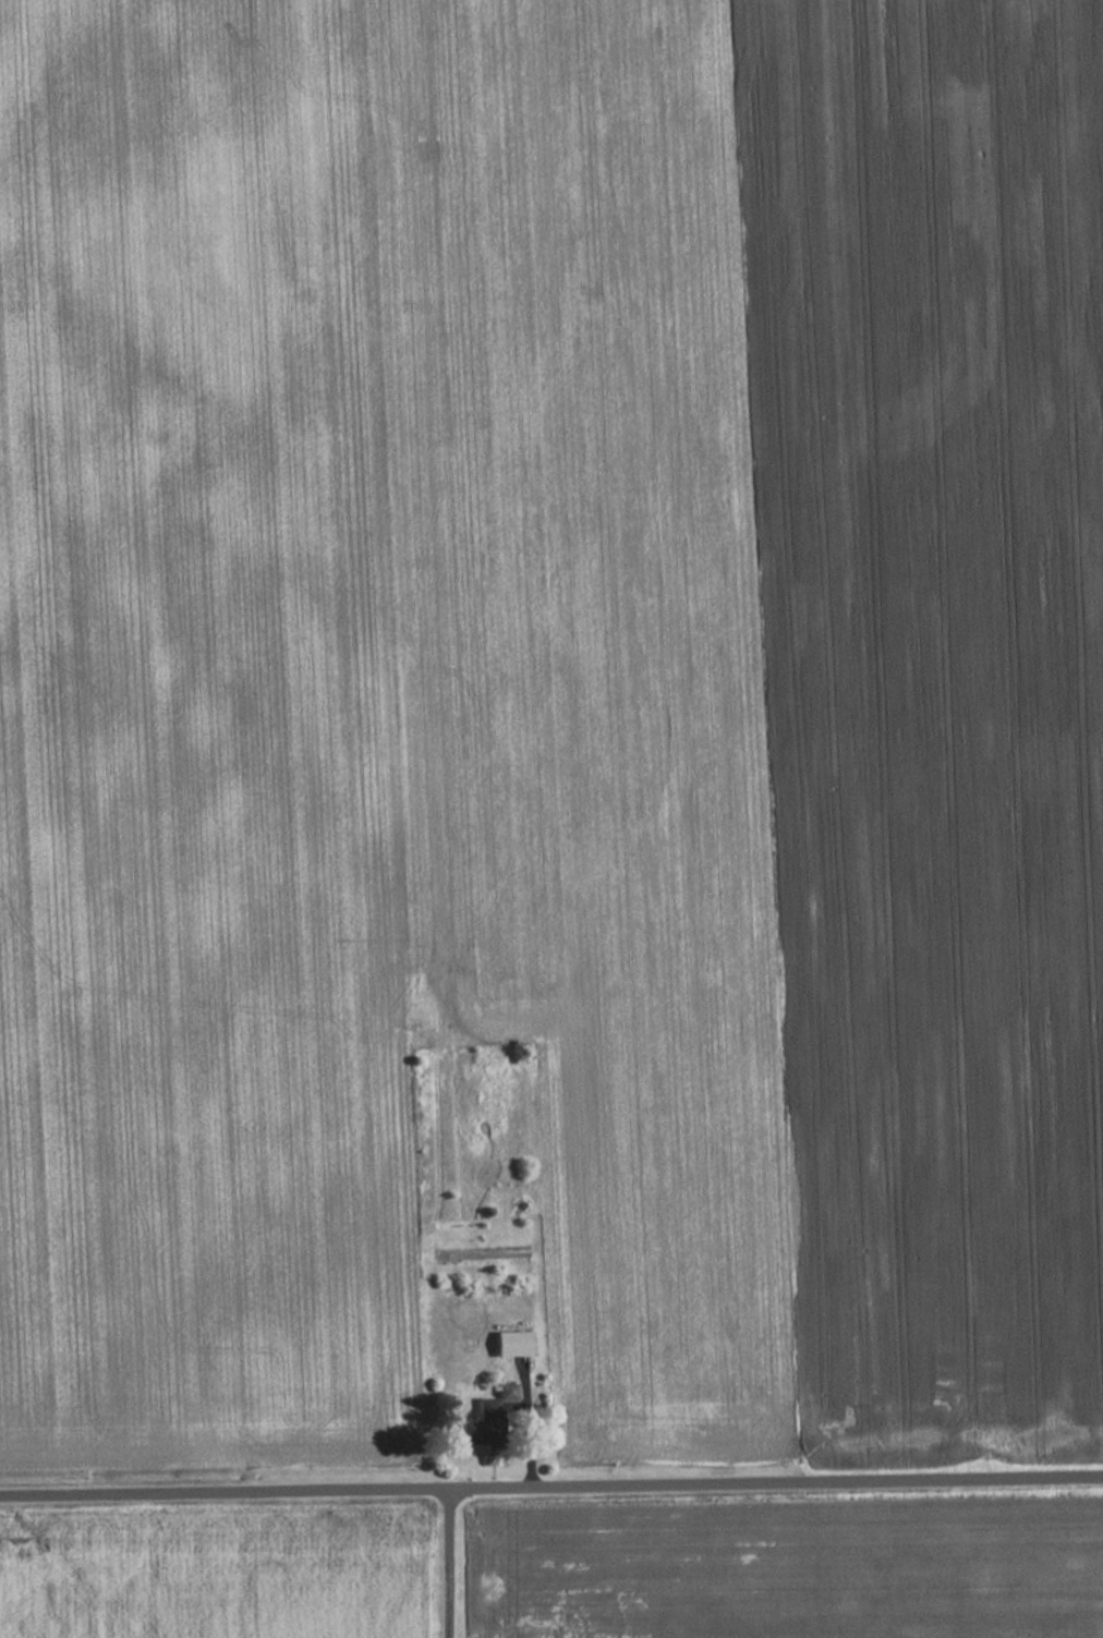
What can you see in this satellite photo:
crop: (551, 707)
building: (510, 1344)
building: (478, 1425)
road: (550, 1490)
road: (447, 1565)
crop: (797, 1576)
crop: (216, 1578)

